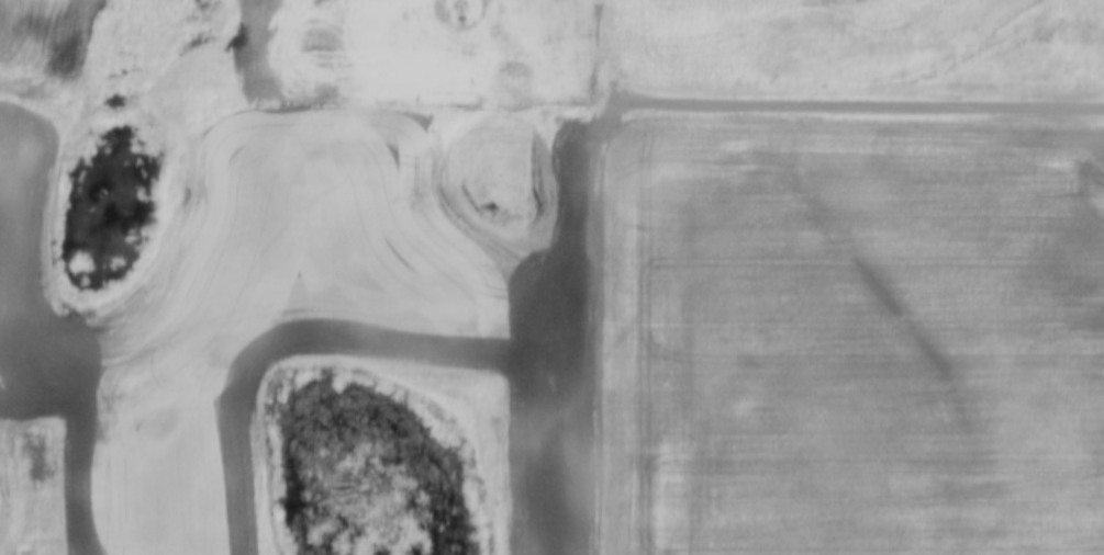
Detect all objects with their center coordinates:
road: (637, 106)

